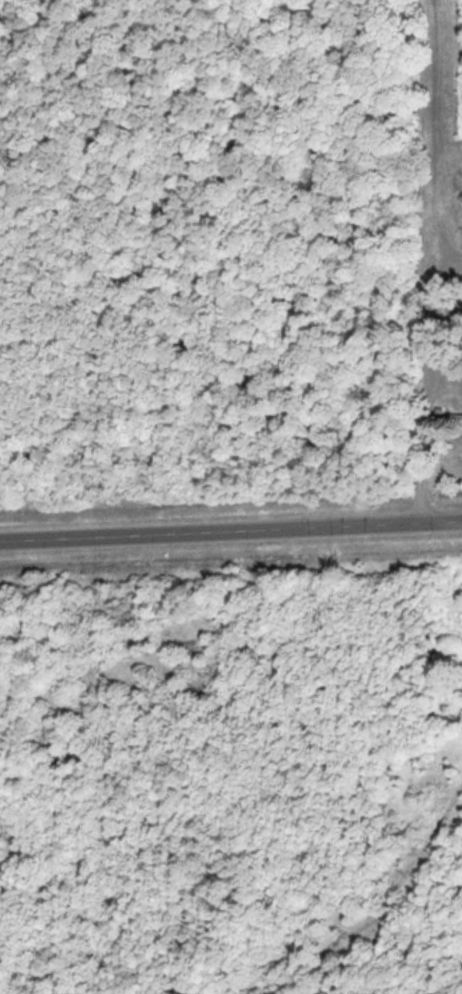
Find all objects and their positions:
road: (231, 524)

